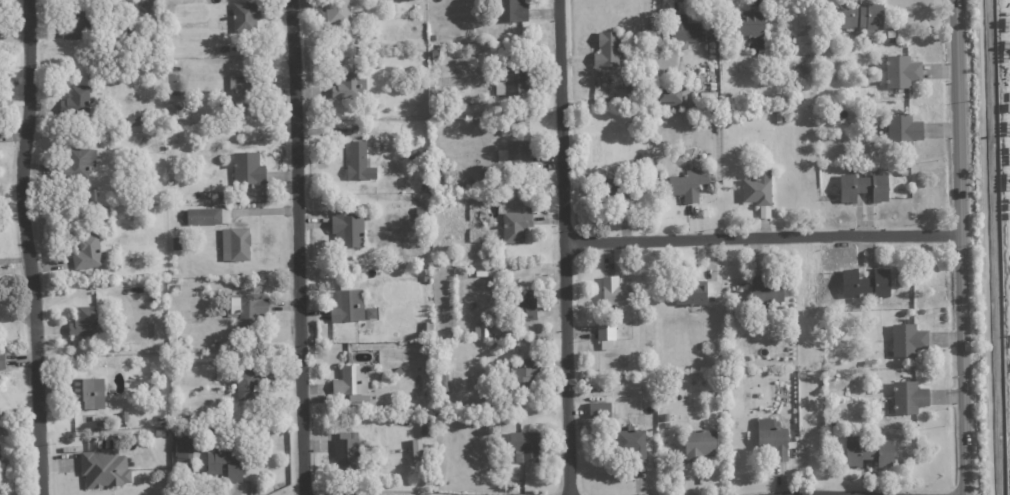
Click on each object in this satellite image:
building: (338, 12)
building: (511, 12)
building: (860, 15)
building: (245, 16)
building: (75, 25)
building: (751, 27)
building: (684, 30)
building: (224, 48)
building: (607, 49)
building: (653, 49)
building: (435, 53)
building: (205, 67)
building: (901, 71)
building: (515, 83)
building: (245, 89)
building: (349, 89)
building: (639, 89)
building: (669, 95)
building: (77, 103)
building: (782, 118)
building: (134, 121)
building: (630, 126)
building: (506, 131)
building: (904, 131)
building: (413, 155)
building: (513, 155)
building: (77, 163)
building: (359, 164)
building: (249, 170)
building: (689, 184)
building: (864, 187)
building: (759, 192)
building: (618, 193)
building: (221, 194)
building: (93, 195)
building: (421, 213)
building: (208, 216)
building: (516, 227)
building: (346, 230)
road: (765, 231)
building: (177, 244)
building: (236, 244)
road: (30, 247)
road: (300, 247)
road: (566, 247)
road: (964, 247)
road: (987, 247)
building: (89, 253)
building: (427, 273)
building: (428, 280)
building: (866, 283)
building: (177, 287)
building: (767, 291)
building: (616, 292)
building: (692, 293)
building: (153, 299)
building: (711, 299)
building: (524, 306)
building: (346, 307)
building: (247, 310)
building: (733, 313)
building: (87, 324)
building: (428, 327)
building: (481, 331)
building: (237, 332)
building: (607, 332)
building: (908, 339)
building: (845, 346)
building: (2, 361)
building: (397, 373)
building: (523, 376)
building: (444, 382)
building: (252, 383)
building: (354, 384)
building: (87, 394)
building: (908, 396)
building: (598, 409)
building: (124, 417)
building: (666, 417)
building: (95, 418)
building: (161, 419)
building: (834, 423)
building: (667, 426)
building: (716, 427)
building: (426, 430)
building: (160, 434)
building: (773, 439)
building: (633, 443)
building: (700, 445)
building: (525, 446)
building: (184, 451)
building: (417, 452)
building: (871, 453)
building: (346, 454)
building: (768, 454)
building: (830, 459)
building: (226, 461)
building: (104, 470)
road: (847, 488)

